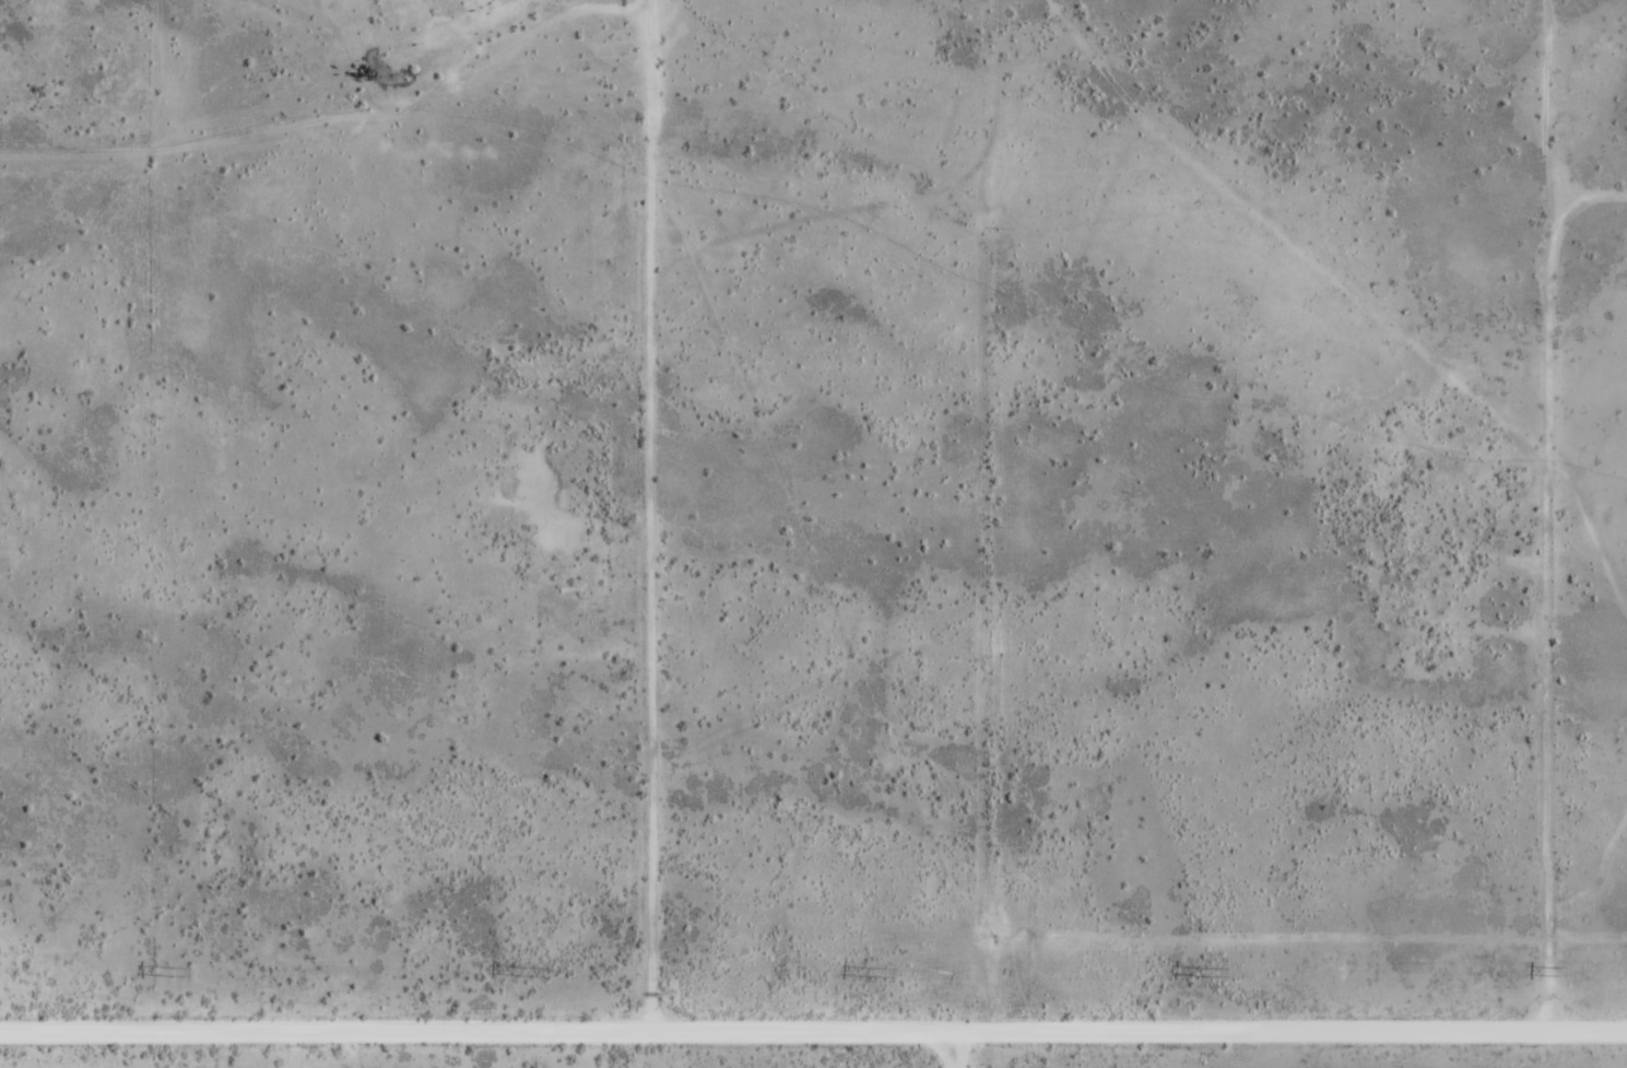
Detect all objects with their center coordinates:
power tower: (524, 971)
power tower: (173, 972)
power tower: (875, 972)
power tower: (1207, 972)
power tower: (1563, 972)
road: (813, 1033)
road: (964, 1051)

